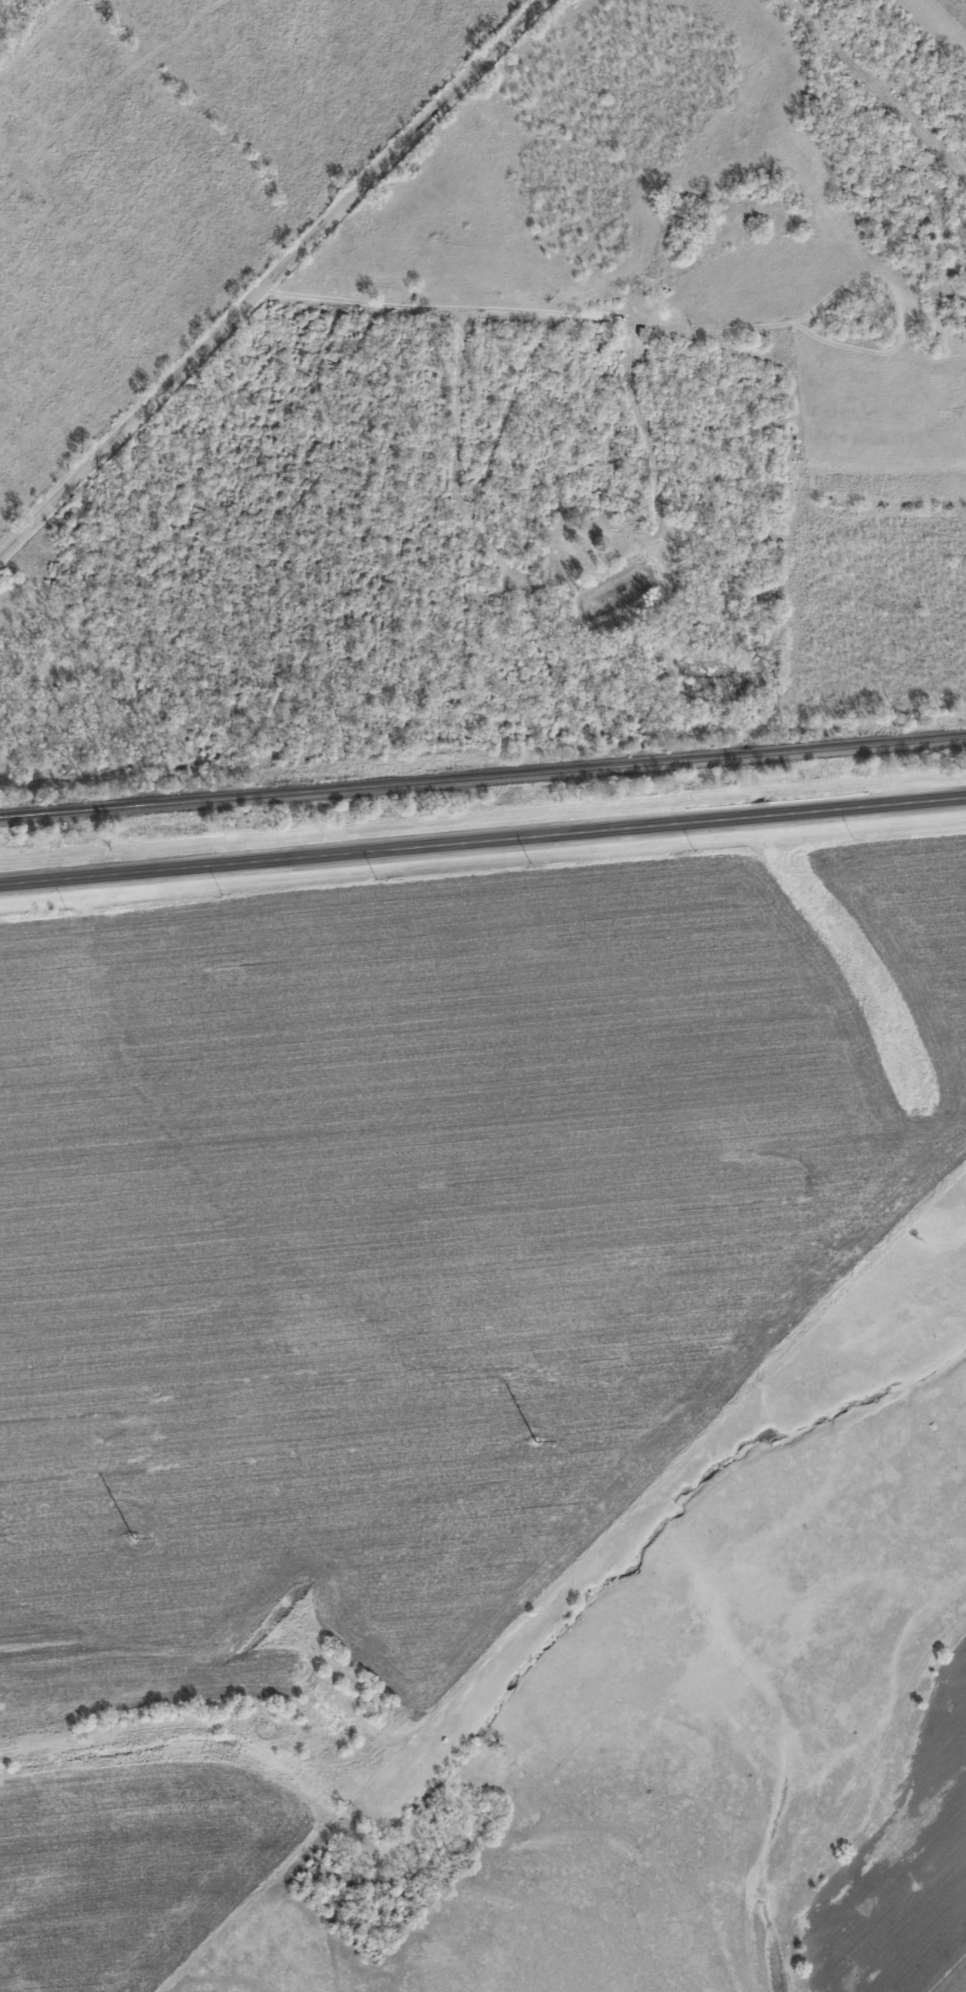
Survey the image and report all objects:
road: (270, 278)
railway: (482, 778)
road: (483, 841)
power tower: (534, 1439)
power tower: (131, 1538)

